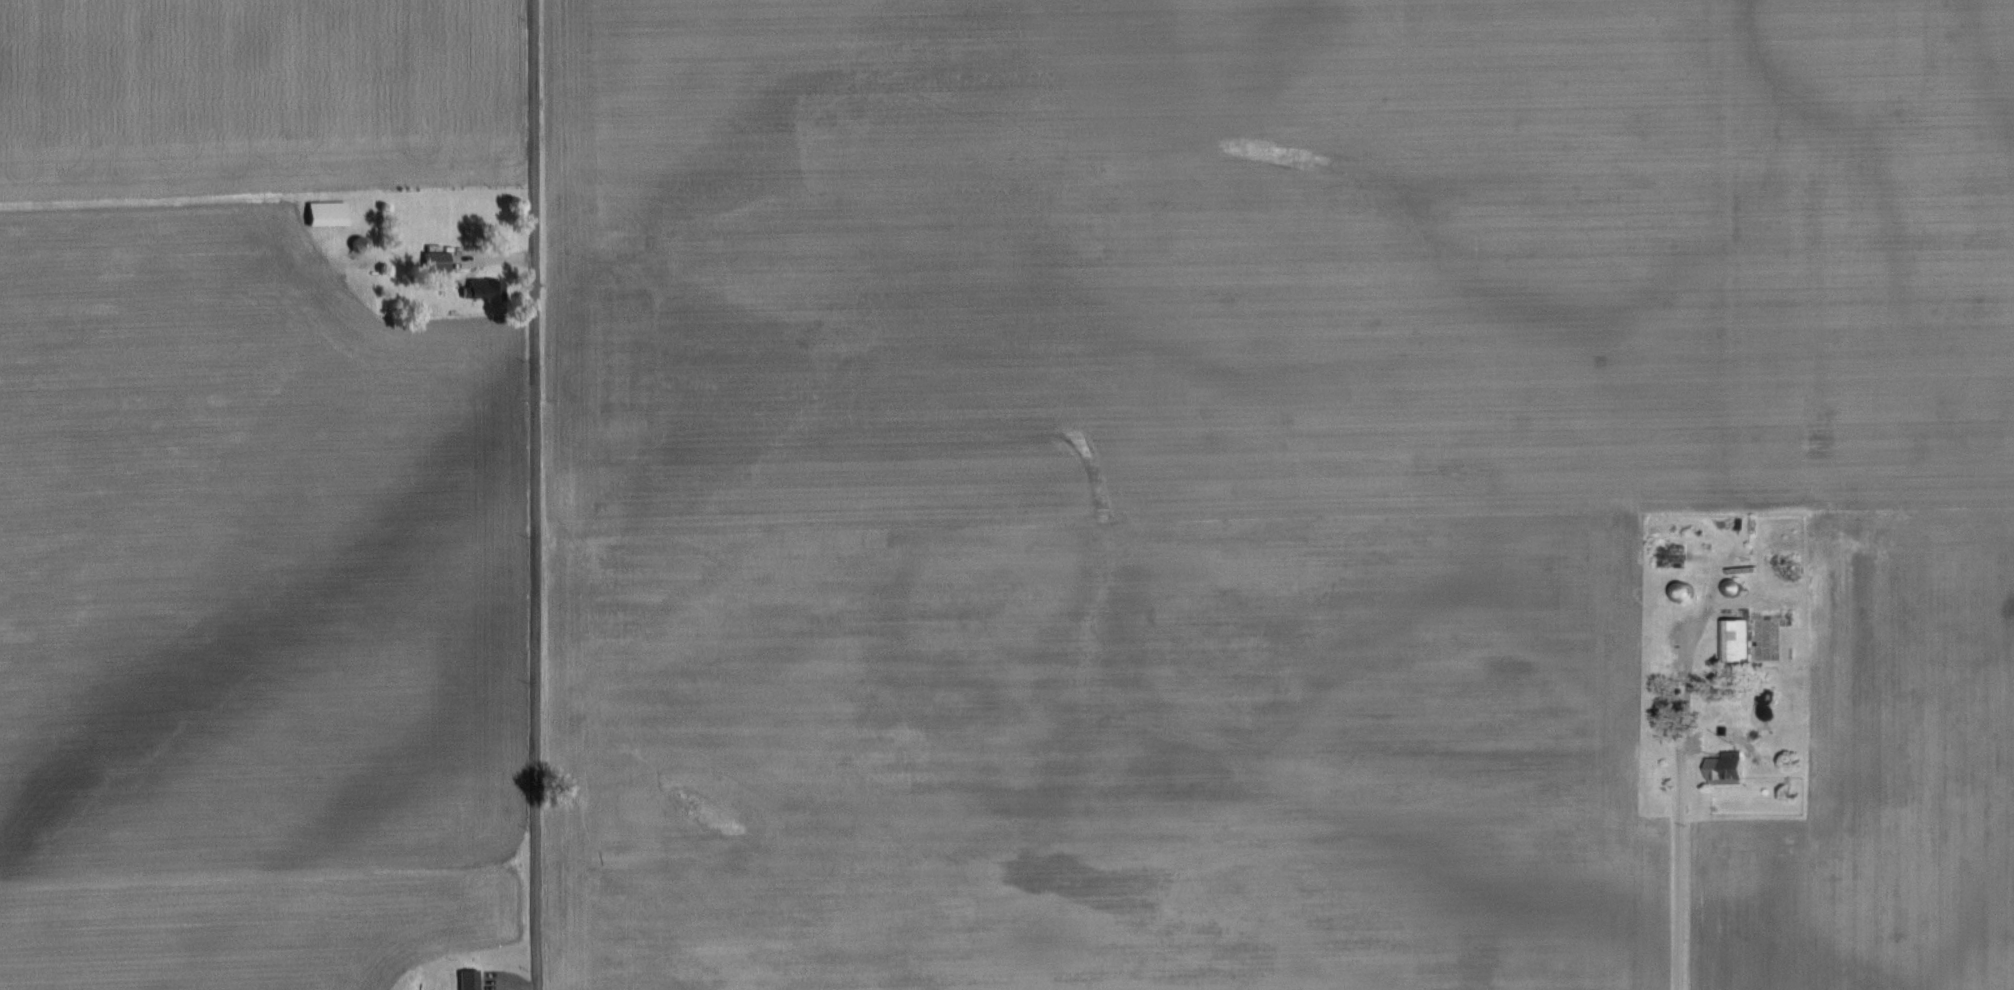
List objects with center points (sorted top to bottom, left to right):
building: (328, 214)
building: (483, 291)
road: (537, 495)
building: (1741, 639)
building: (1728, 763)
road: (1681, 859)
building: (469, 979)

